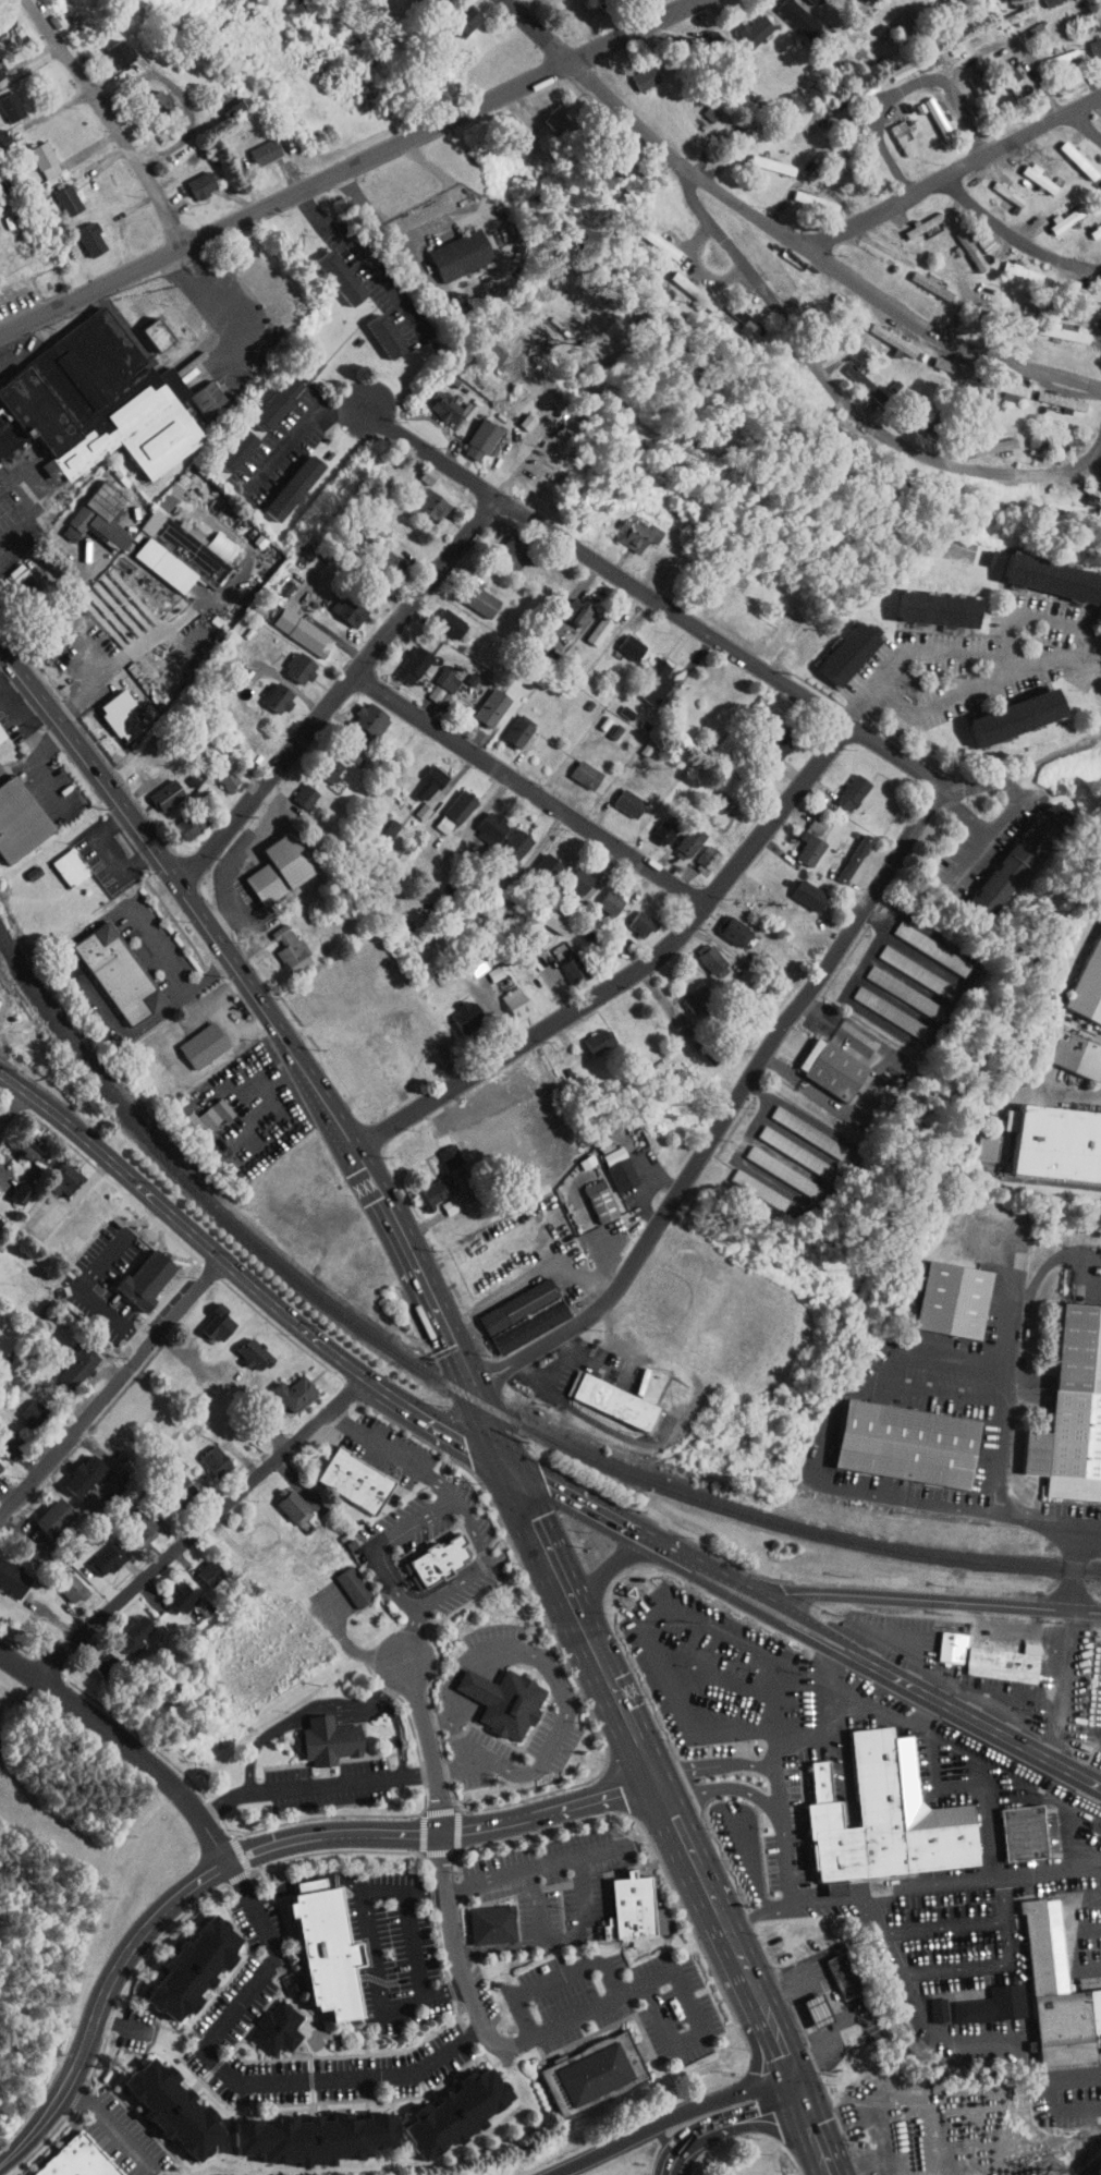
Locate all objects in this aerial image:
building: (784, 9)
building: (1004, 9)
building: (454, 13)
building: (744, 23)
building: (1026, 23)
road: (1006, 38)
building: (1090, 39)
building: (930, 47)
building: (102, 48)
building: (1049, 52)
building: (902, 58)
building: (634, 70)
road: (893, 81)
building: (857, 82)
building: (971, 86)
building: (144, 95)
road: (181, 96)
building: (3, 100)
building: (219, 101)
building: (545, 111)
building: (927, 111)
road: (108, 121)
road: (1080, 122)
building: (891, 130)
building: (252, 145)
building: (32, 153)
building: (1068, 153)
road: (947, 162)
road: (351, 168)
building: (1029, 171)
building: (189, 178)
building: (998, 185)
building: (56, 193)
building: (805, 194)
building: (1057, 210)
building: (913, 217)
building: (1090, 221)
road: (435, 224)
building: (78, 232)
road: (781, 232)
road: (1008, 232)
building: (646, 233)
building: (977, 236)
building: (961, 243)
building: (449, 247)
road: (368, 255)
building: (1015, 266)
building: (328, 270)
building: (920, 278)
building: (681, 283)
building: (1077, 285)
road: (199, 296)
building: (734, 312)
building: (1052, 326)
building: (144, 327)
building: (374, 328)
building: (481, 345)
building: (848, 370)
building: (195, 390)
building: (1053, 393)
building: (265, 396)
building: (436, 400)
building: (95, 401)
road: (857, 410)
building: (467, 433)
road: (295, 434)
building: (980, 440)
building: (224, 443)
building: (281, 479)
building: (419, 497)
building: (88, 510)
building: (625, 527)
road: (9, 535)
building: (170, 539)
building: (501, 545)
building: (378, 556)
building: (1039, 570)
building: (467, 593)
road: (652, 602)
building: (925, 602)
building: (337, 603)
building: (565, 605)
building: (438, 617)
road: (1048, 617)
building: (291, 624)
building: (587, 624)
road: (146, 639)
building: (620, 640)
building: (837, 645)
road: (957, 652)
building: (402, 658)
building: (288, 660)
road: (79, 668)
building: (645, 673)
building: (266, 691)
road: (344, 695)
road: (962, 695)
building: (480, 701)
building: (108, 709)
building: (1004, 709)
building: (358, 713)
building: (507, 724)
building: (2, 733)
building: (764, 741)
building: (318, 763)
building: (574, 768)
road: (1028, 768)
building: (218, 776)
building: (417, 777)
building: (841, 785)
building: (155, 788)
building: (294, 789)
road: (533, 792)
building: (617, 797)
building: (444, 804)
building: (411, 805)
building: (178, 818)
building: (805, 818)
building: (20, 821)
building: (379, 821)
building: (479, 821)
building: (650, 827)
road: (993, 835)
building: (677, 836)
building: (504, 837)
building: (797, 841)
building: (843, 851)
building: (1010, 851)
building: (695, 852)
road: (972, 855)
building: (536, 860)
building: (58, 861)
building: (268, 861)
building: (73, 865)
building: (567, 875)
building: (798, 888)
building: (599, 896)
building: (542, 913)
building: (629, 916)
building: (724, 925)
building: (919, 941)
building: (279, 943)
building: (697, 948)
building: (466, 959)
building: (562, 963)
building: (905, 964)
road: (77, 969)
building: (119, 972)
road: (637, 975)
road: (246, 976)
building: (892, 985)
building: (1088, 985)
building: (687, 995)
building: (505, 997)
building: (880, 1006)
building: (455, 1010)
building: (588, 1034)
building: (191, 1038)
building: (206, 1044)
building: (1076, 1054)
building: (820, 1061)
road: (748, 1084)
building: (191, 1109)
road: (16, 1118)
building: (796, 1125)
building: (971, 1140)
building: (17, 1141)
building: (1057, 1142)
building: (784, 1145)
building: (439, 1150)
building: (607, 1162)
building: (771, 1165)
building: (51, 1174)
building: (748, 1182)
building: (8, 1187)
building: (424, 1187)
building: (588, 1194)
building: (438, 1199)
railway: (208, 1200)
road: (1082, 1256)
building: (133, 1274)
road: (246, 1276)
road: (94, 1297)
building: (952, 1298)
building: (505, 1299)
road: (1006, 1301)
building: (526, 1314)
building: (206, 1317)
building: (242, 1348)
building: (64, 1360)
road: (475, 1363)
road: (498, 1363)
road: (457, 1371)
road: (503, 1374)
road: (112, 1382)
building: (281, 1387)
building: (616, 1401)
building: (1076, 1405)
building: (21, 1407)
road: (493, 1431)
road: (994, 1435)
building: (907, 1443)
road: (393, 1453)
building: (203, 1455)
traffic signals: (505, 1460)
building: (71, 1469)
building: (166, 1478)
building: (357, 1480)
road: (837, 1486)
road: (451, 1498)
building: (282, 1500)
road: (586, 1502)
building: (40, 1510)
building: (132, 1522)
railway: (781, 1523)
road: (200, 1529)
building: (249, 1531)
road: (542, 1540)
building: (70, 1544)
building: (96, 1553)
building: (439, 1559)
road: (1077, 1559)
road: (610, 1565)
building: (197, 1567)
road: (715, 1567)
building: (342, 1580)
building: (61, 1582)
building: (170, 1592)
road: (932, 1597)
building: (124, 1626)
road: (655, 1633)
road: (411, 1635)
building: (941, 1639)
road: (591, 1643)
building: (954, 1647)
building: (95, 1656)
building: (1005, 1664)
road: (1063, 1681)
building: (476, 1685)
road: (931, 1687)
road: (781, 1699)
building: (514, 1704)
road: (564, 1704)
road: (309, 1710)
road: (629, 1724)
building: (317, 1733)
road: (400, 1734)
road: (781, 1738)
road: (429, 1741)
road: (124, 1747)
road: (715, 1764)
road: (317, 1784)
road: (723, 1786)
building: (885, 1815)
building: (1025, 1832)
road: (686, 1843)
road: (249, 1851)
road: (534, 1867)
road: (949, 1881)
building: (311, 1884)
road: (306, 1885)
road: (405, 1891)
road: (538, 1904)
building: (633, 1907)
road: (761, 1912)
road: (589, 1918)
building: (492, 1922)
road: (947, 1925)
road: (454, 1933)
road: (419, 1942)
road: (374, 1944)
road: (501, 1946)
building: (328, 1952)
road: (739, 1957)
building: (180, 1960)
building: (832, 1967)
road: (957, 1968)
road: (558, 1978)
building: (1049, 1985)
road: (427, 1993)
road: (686, 2000)
building: (805, 2003)
building: (928, 2003)
road: (592, 2007)
building: (262, 2019)
road: (1004, 2040)
road: (784, 2049)
road: (766, 2053)
building: (596, 2073)
road: (235, 2076)
road: (773, 2087)
traffic signals: (802, 2088)
building: (160, 2101)
building: (444, 2105)
road: (725, 2121)
road: (111, 2122)
road: (647, 2129)
building: (302, 2130)
road: (818, 2130)
building: (78, 2159)
power tower: (1055, 2168)

